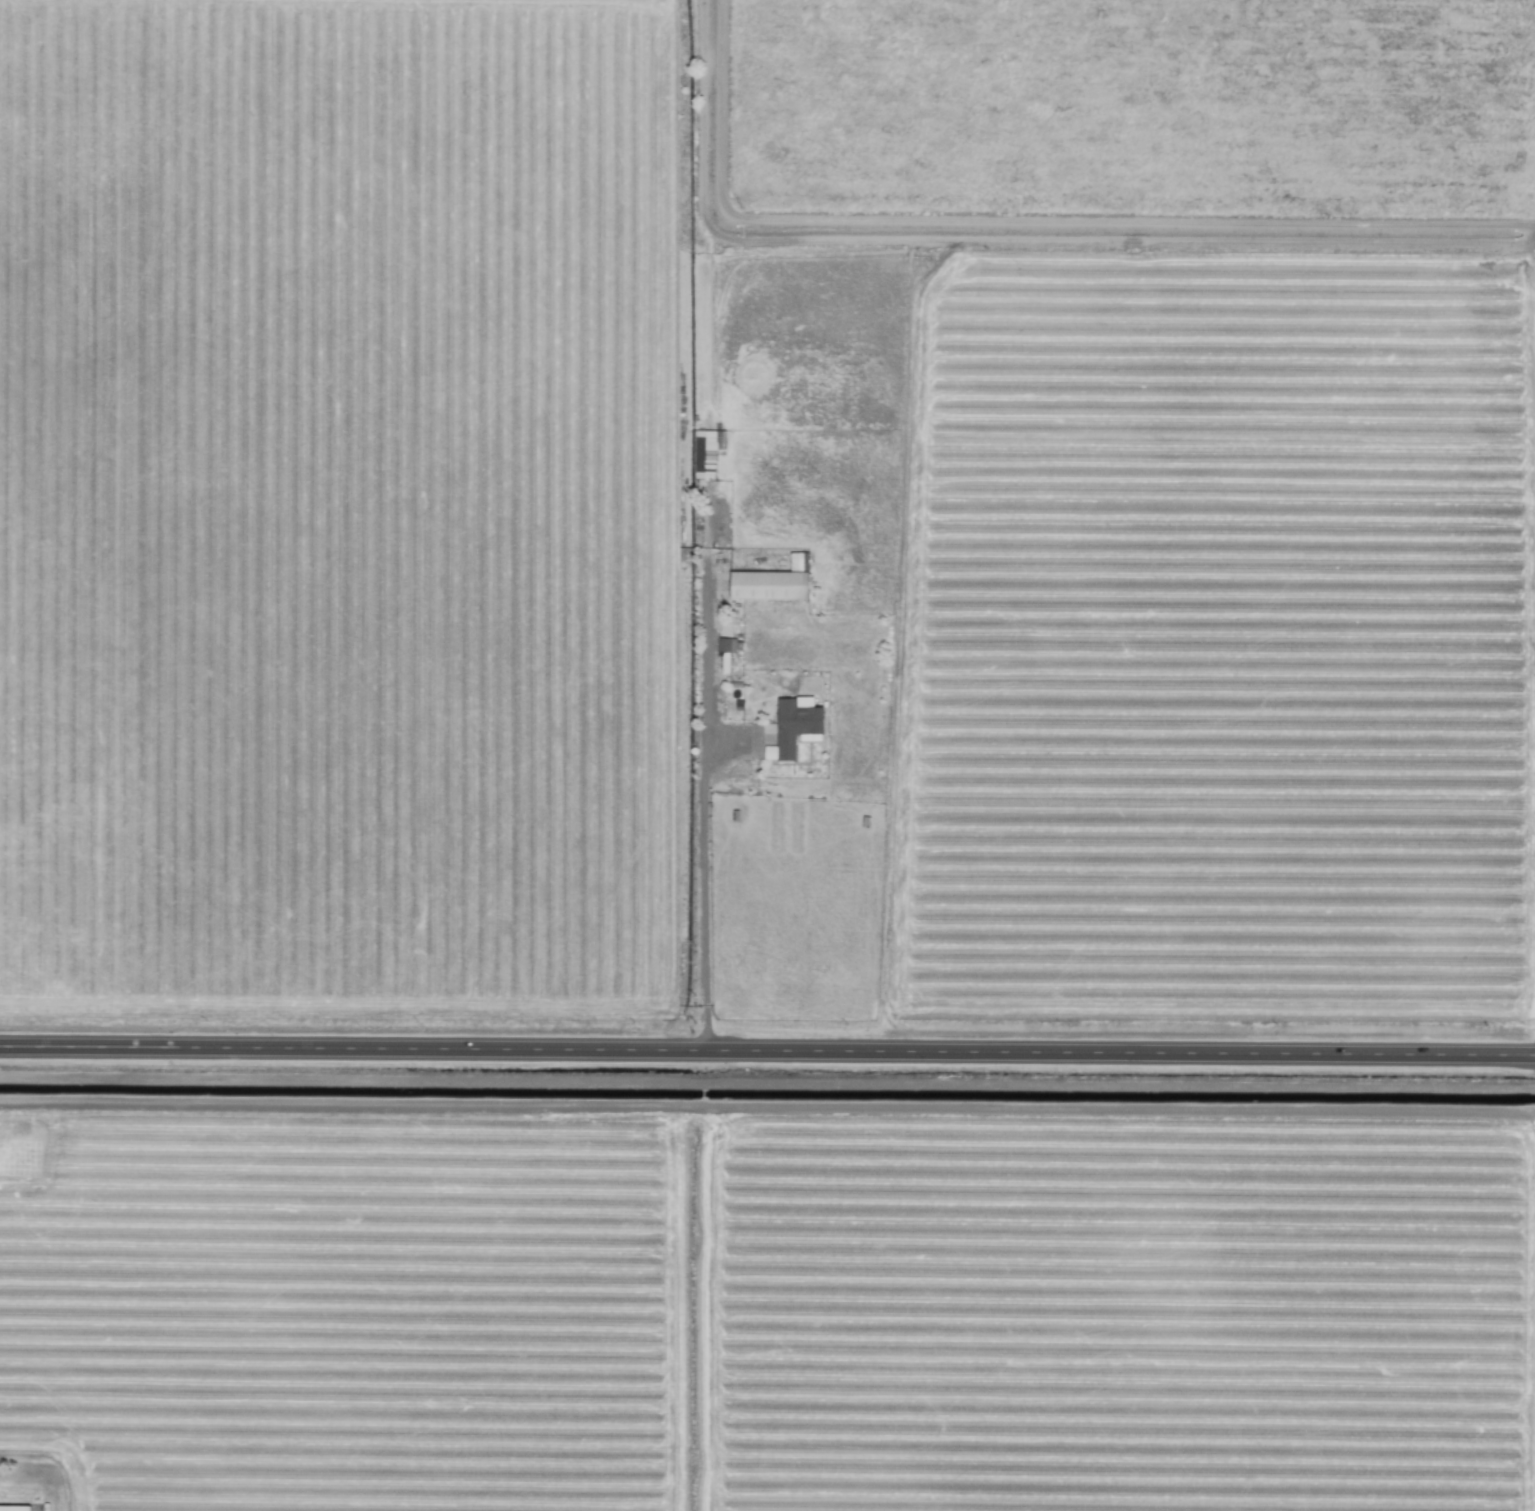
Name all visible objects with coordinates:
building: (707, 452)
building: (772, 582)
crop: (792, 625)
building: (723, 645)
building: (794, 725)
road: (701, 801)
road: (767, 1046)
building: (14, 1507)

